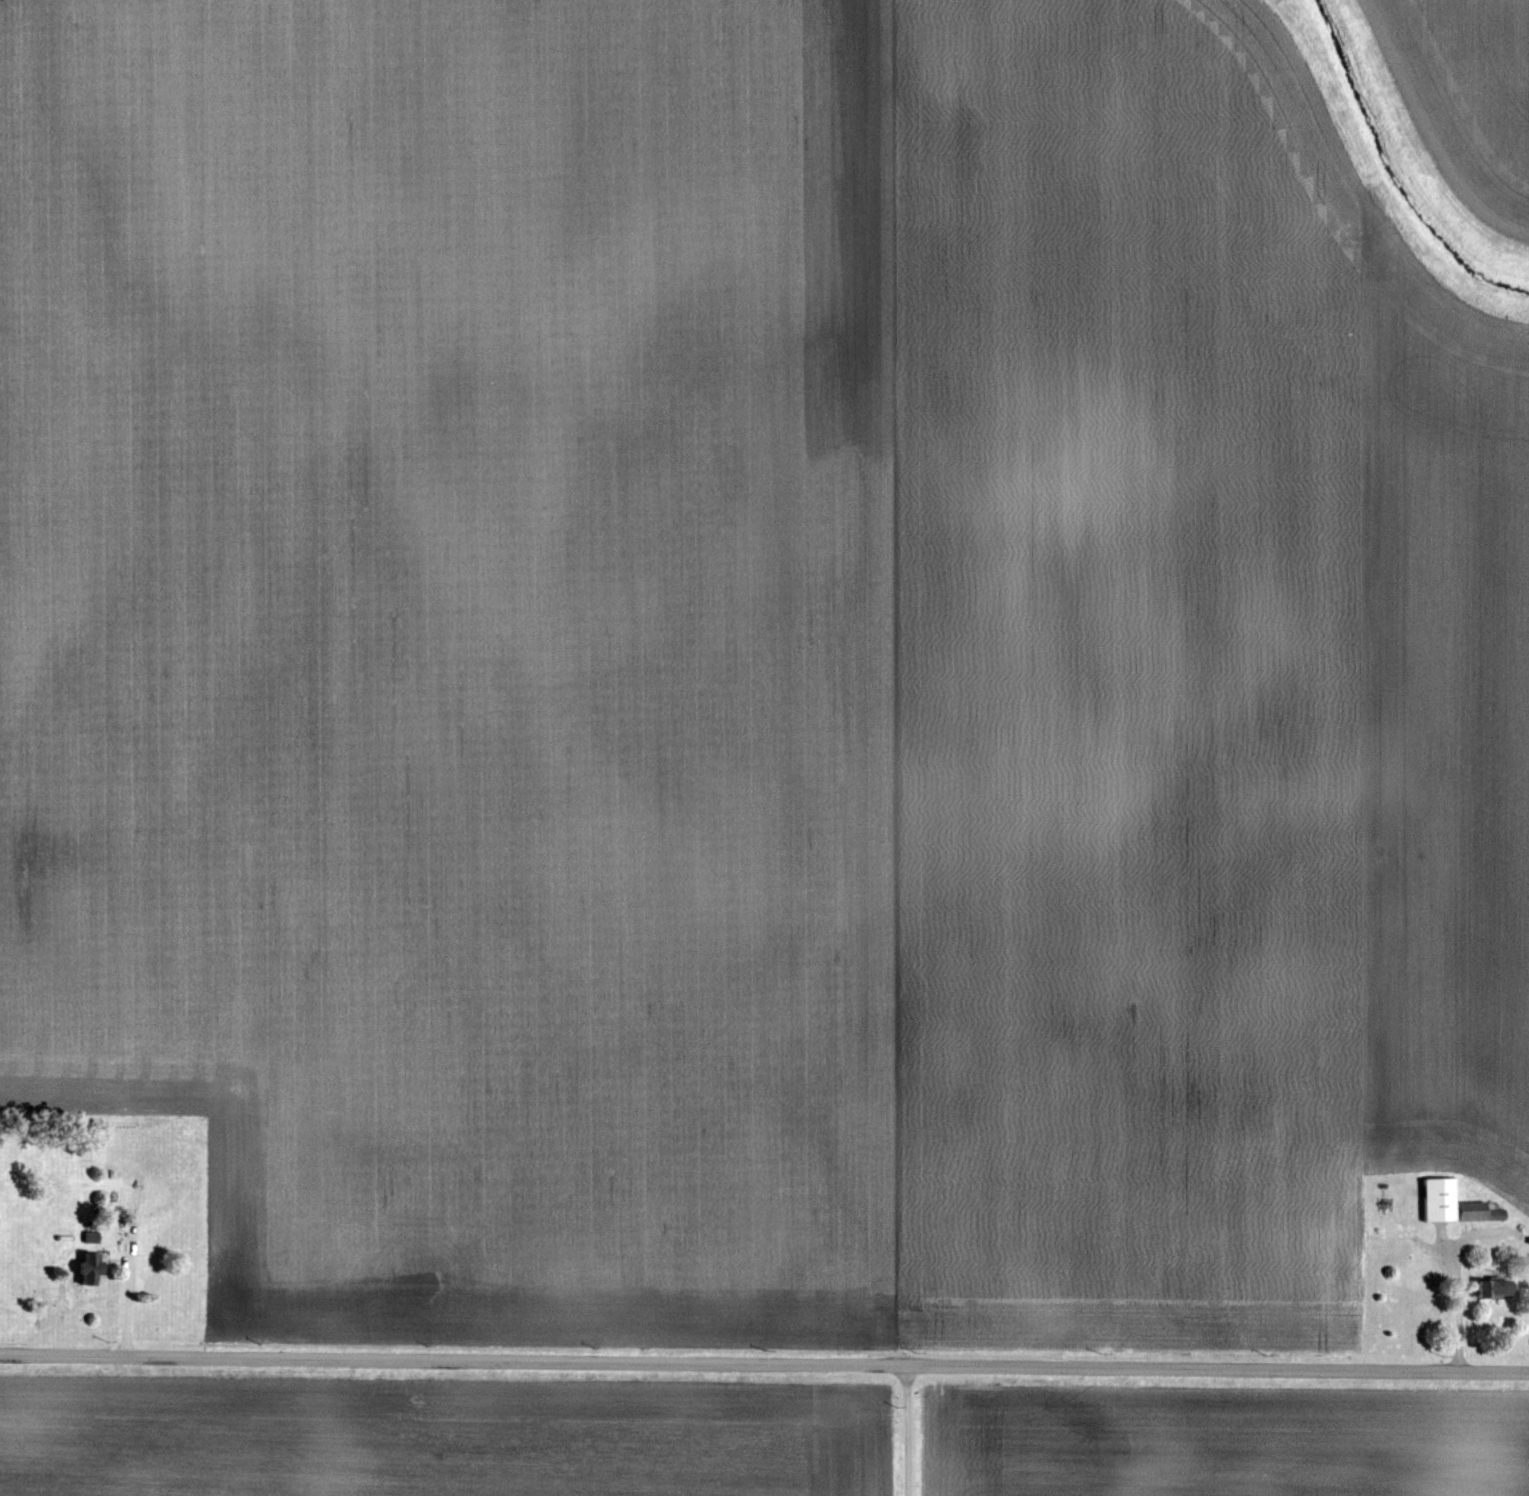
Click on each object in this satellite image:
building: (1437, 1200)
road: (1457, 1284)
road: (764, 1364)
road: (909, 1430)

